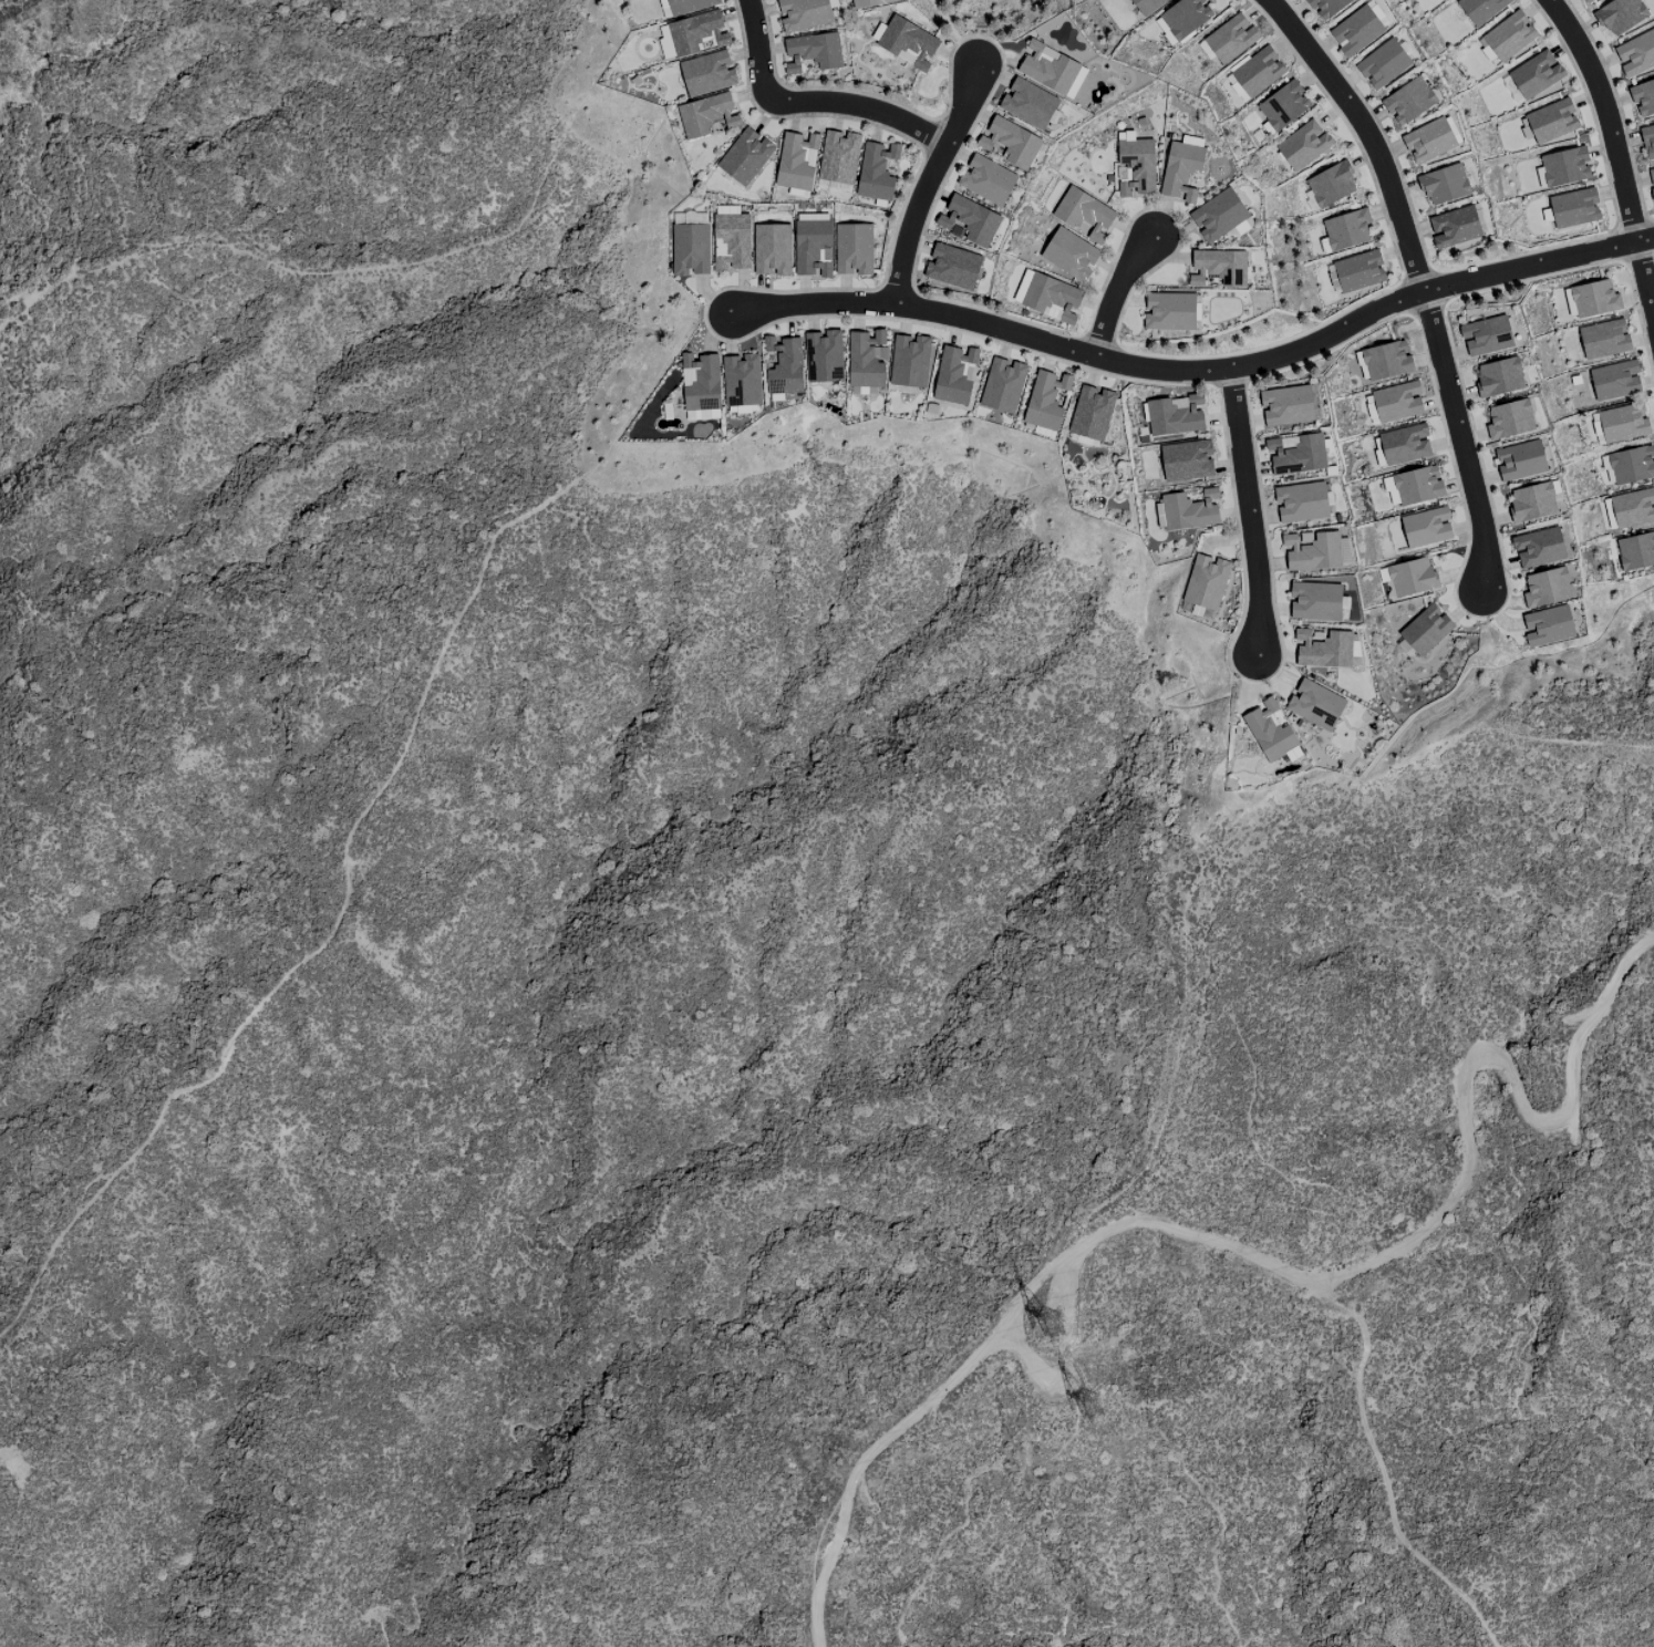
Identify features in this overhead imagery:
building: (1585, 1)
building: (869, 2)
building: (683, 6)
building: (1146, 6)
building: (1326, 7)
building: (1479, 9)
building: (803, 13)
building: (1376, 13)
building: (1619, 15)
building: (1183, 17)
building: (1355, 31)
building: (692, 34)
building: (1508, 35)
building: (1229, 39)
building: (907, 42)
road: (757, 50)
building: (812, 51)
building: (1635, 53)
building: (1383, 64)
building: (1258, 72)
building: (706, 73)
building: (1534, 74)
building: (1236, 89)
building: (1643, 96)
building: (1408, 101)
building: (1027, 103)
road: (861, 105)
building: (1283, 105)
building: (706, 114)
building: (1551, 121)
building: (1428, 141)
building: (1647, 141)
building: (1009, 143)
building: (1303, 145)
road: (1615, 148)
building: (744, 156)
building: (796, 160)
building: (1136, 165)
building: (1564, 166)
building: (1180, 169)
building: (876, 172)
road: (928, 180)
building: (986, 180)
building: (1651, 180)
building: (1330, 184)
building: (1443, 184)
building: (1573, 207)
building: (1084, 213)
building: (1218, 215)
building: (969, 220)
building: (1243, 226)
building: (1454, 227)
building: (1346, 229)
building: (812, 246)
building: (771, 249)
building: (852, 249)
building: (1069, 253)
building: (952, 266)
building: (1217, 268)
building: (1357, 271)
road: (1419, 279)
road: (1116, 291)
building: (1050, 297)
building: (1593, 299)
building: (1168, 311)
building: (1486, 335)
building: (1603, 339)
building: (865, 360)
building: (803, 361)
building: (910, 361)
building: (1385, 361)
road: (1197, 370)
building: (953, 374)
building: (1498, 376)
building: (699, 381)
building: (1614, 381)
building: (1001, 385)
building: (1045, 400)
building: (1396, 402)
building: (1286, 405)
building: (1090, 412)
building: (1371, 413)
building: (702, 414)
building: (1175, 415)
building: (1509, 418)
building: (1622, 423)
building: (1404, 445)
building: (1295, 454)
building: (1186, 459)
building: (1520, 460)
building: (1632, 465)
building: (1417, 485)
building: (1389, 490)
building: (1301, 503)
building: (1531, 503)
building: (1632, 507)
building: (1189, 510)
road: (1250, 512)
building: (1426, 527)
building: (1538, 548)
building: (1635, 551)
building: (1311, 552)
building: (1343, 552)
building: (1410, 577)
building: (1205, 581)
building: (1546, 588)
building: (1315, 601)
building: (1196, 611)
building: (1547, 625)
building: (1425, 629)
building: (1323, 649)
building: (1314, 704)
building: (1268, 731)
road: (1555, 1040)
road: (1081, 1258)
power tower: (1055, 1322)
power tower: (1068, 1397)

